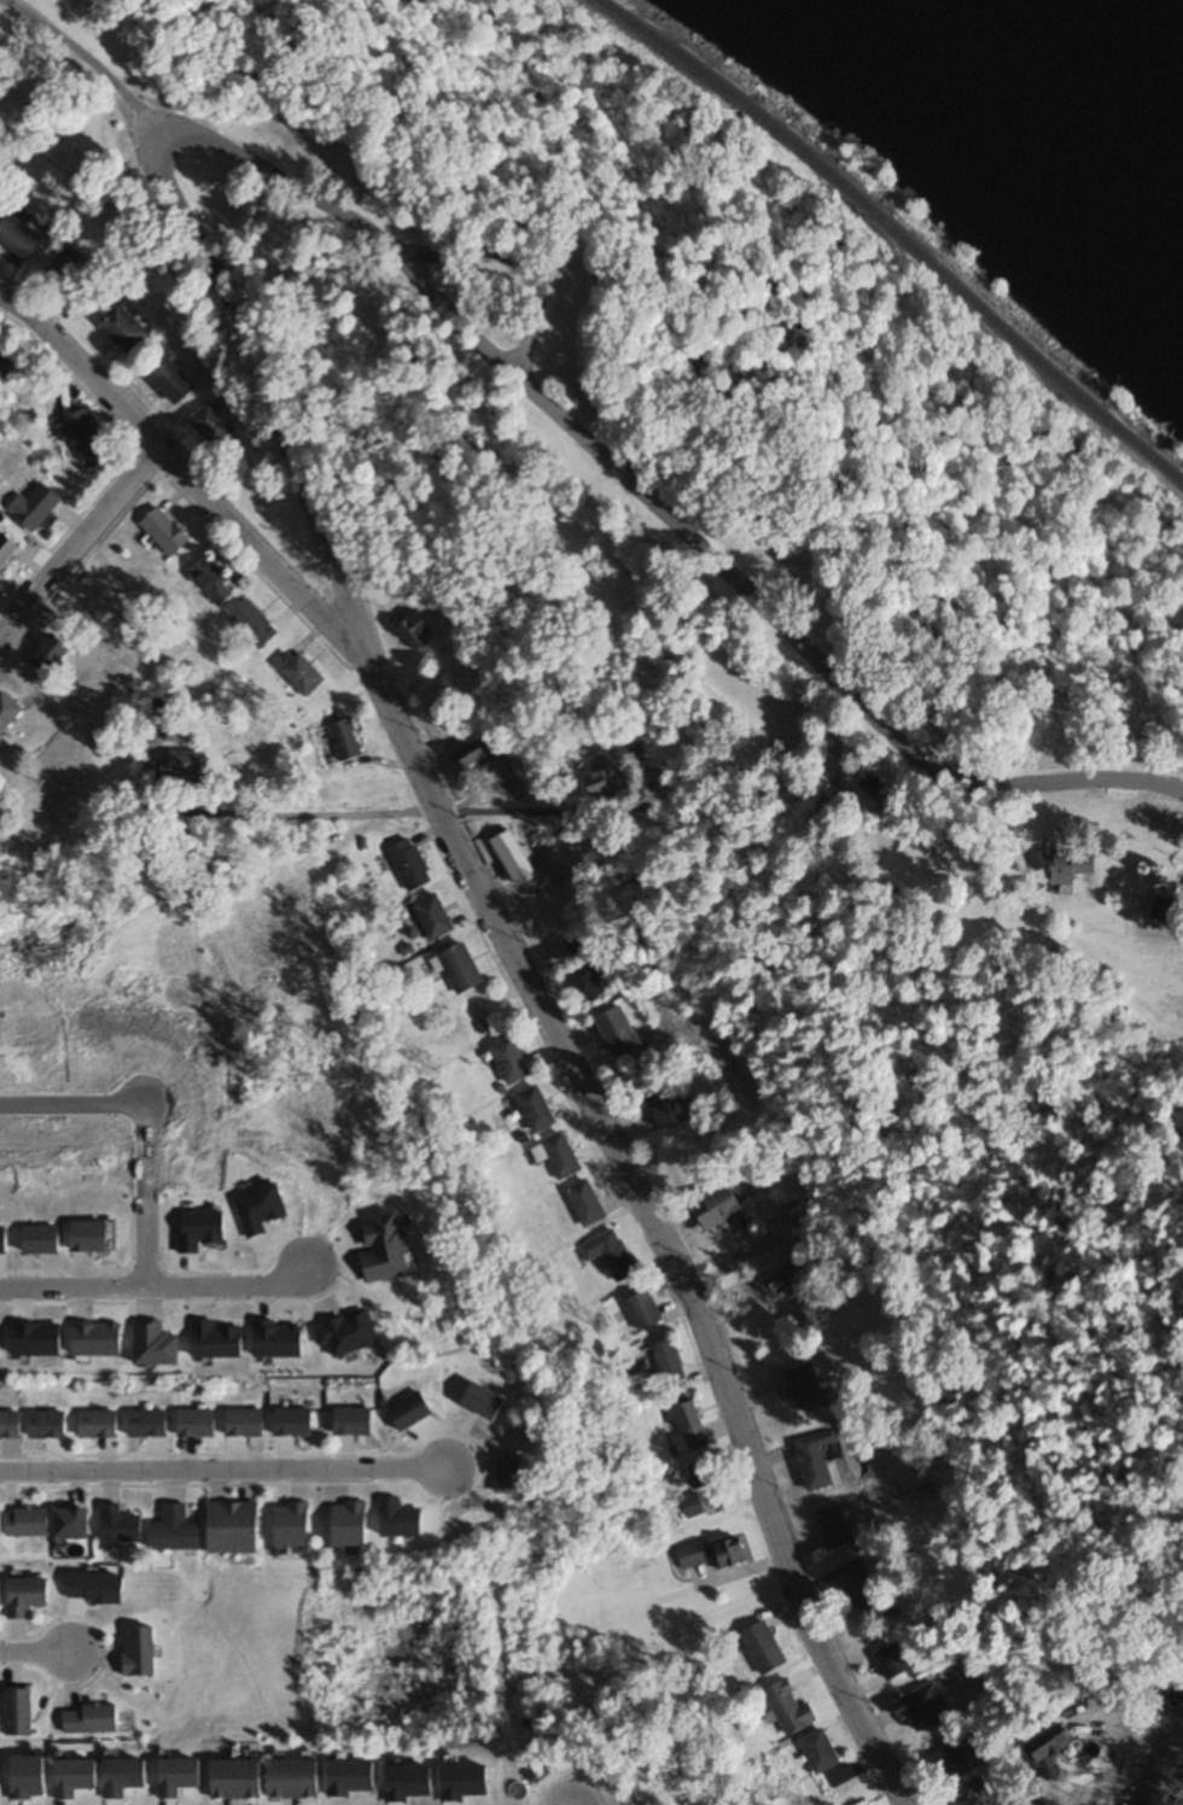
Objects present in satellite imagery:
road: (95, 63)
railway: (899, 232)
building: (19, 238)
road: (535, 263)
building: (70, 278)
road: (454, 309)
building: (123, 328)
building: (6, 366)
building: (173, 384)
building: (211, 427)
building: (86, 439)
road: (183, 475)
building: (35, 509)
building: (167, 533)
road: (80, 541)
building: (7, 551)
building: (212, 583)
building: (253, 625)
building: (416, 632)
building: (664, 636)
building: (49, 655)
building: (301, 674)
building: (7, 711)
building: (346, 740)
building: (473, 757)
building: (183, 764)
building: (601, 784)
building: (864, 793)
road: (257, 814)
building: (514, 859)
building: (410, 866)
building: (1080, 870)
building: (435, 919)
building: (582, 946)
building: (462, 970)
building: (587, 985)
building: (618, 1034)
building: (512, 1063)
road: (71, 1100)
building: (666, 1106)
building: (537, 1111)
building: (559, 1157)
road: (144, 1192)
building: (588, 1205)
building: (721, 1209)
park: (978, 1215)
road: (651, 1223)
building: (611, 1255)
road: (153, 1283)
building: (783, 1283)
building: (645, 1313)
building: (671, 1366)
building: (805, 1389)
building: (412, 1414)
building: (148, 1424)
building: (245, 1424)
building: (292, 1424)
building: (354, 1424)
building: (47, 1425)
building: (100, 1425)
building: (196, 1425)
building: (11, 1426)
building: (693, 1427)
building: (815, 1460)
road: (222, 1470)
building: (704, 1491)
building: (120, 1519)
building: (0, 1520)
building: (27, 1520)
building: (70, 1520)
building: (834, 1527)
building: (234, 1529)
building: (176, 1531)
building: (733, 1554)
building: (693, 1555)
building: (857, 1587)
building: (0, 1593)
building: (27, 1596)
building: (764, 1649)
building: (142, 1652)
park: (360, 1652)
road: (35, 1653)
building: (892, 1663)
building: (1176, 1696)
building: (789, 1708)
building: (922, 1708)
building: (91, 1721)
building: (820, 1752)
building: (1051, 1752)
building: (950, 1764)
building: (238, 1778)
building: (296, 1778)
building: (973, 1795)

